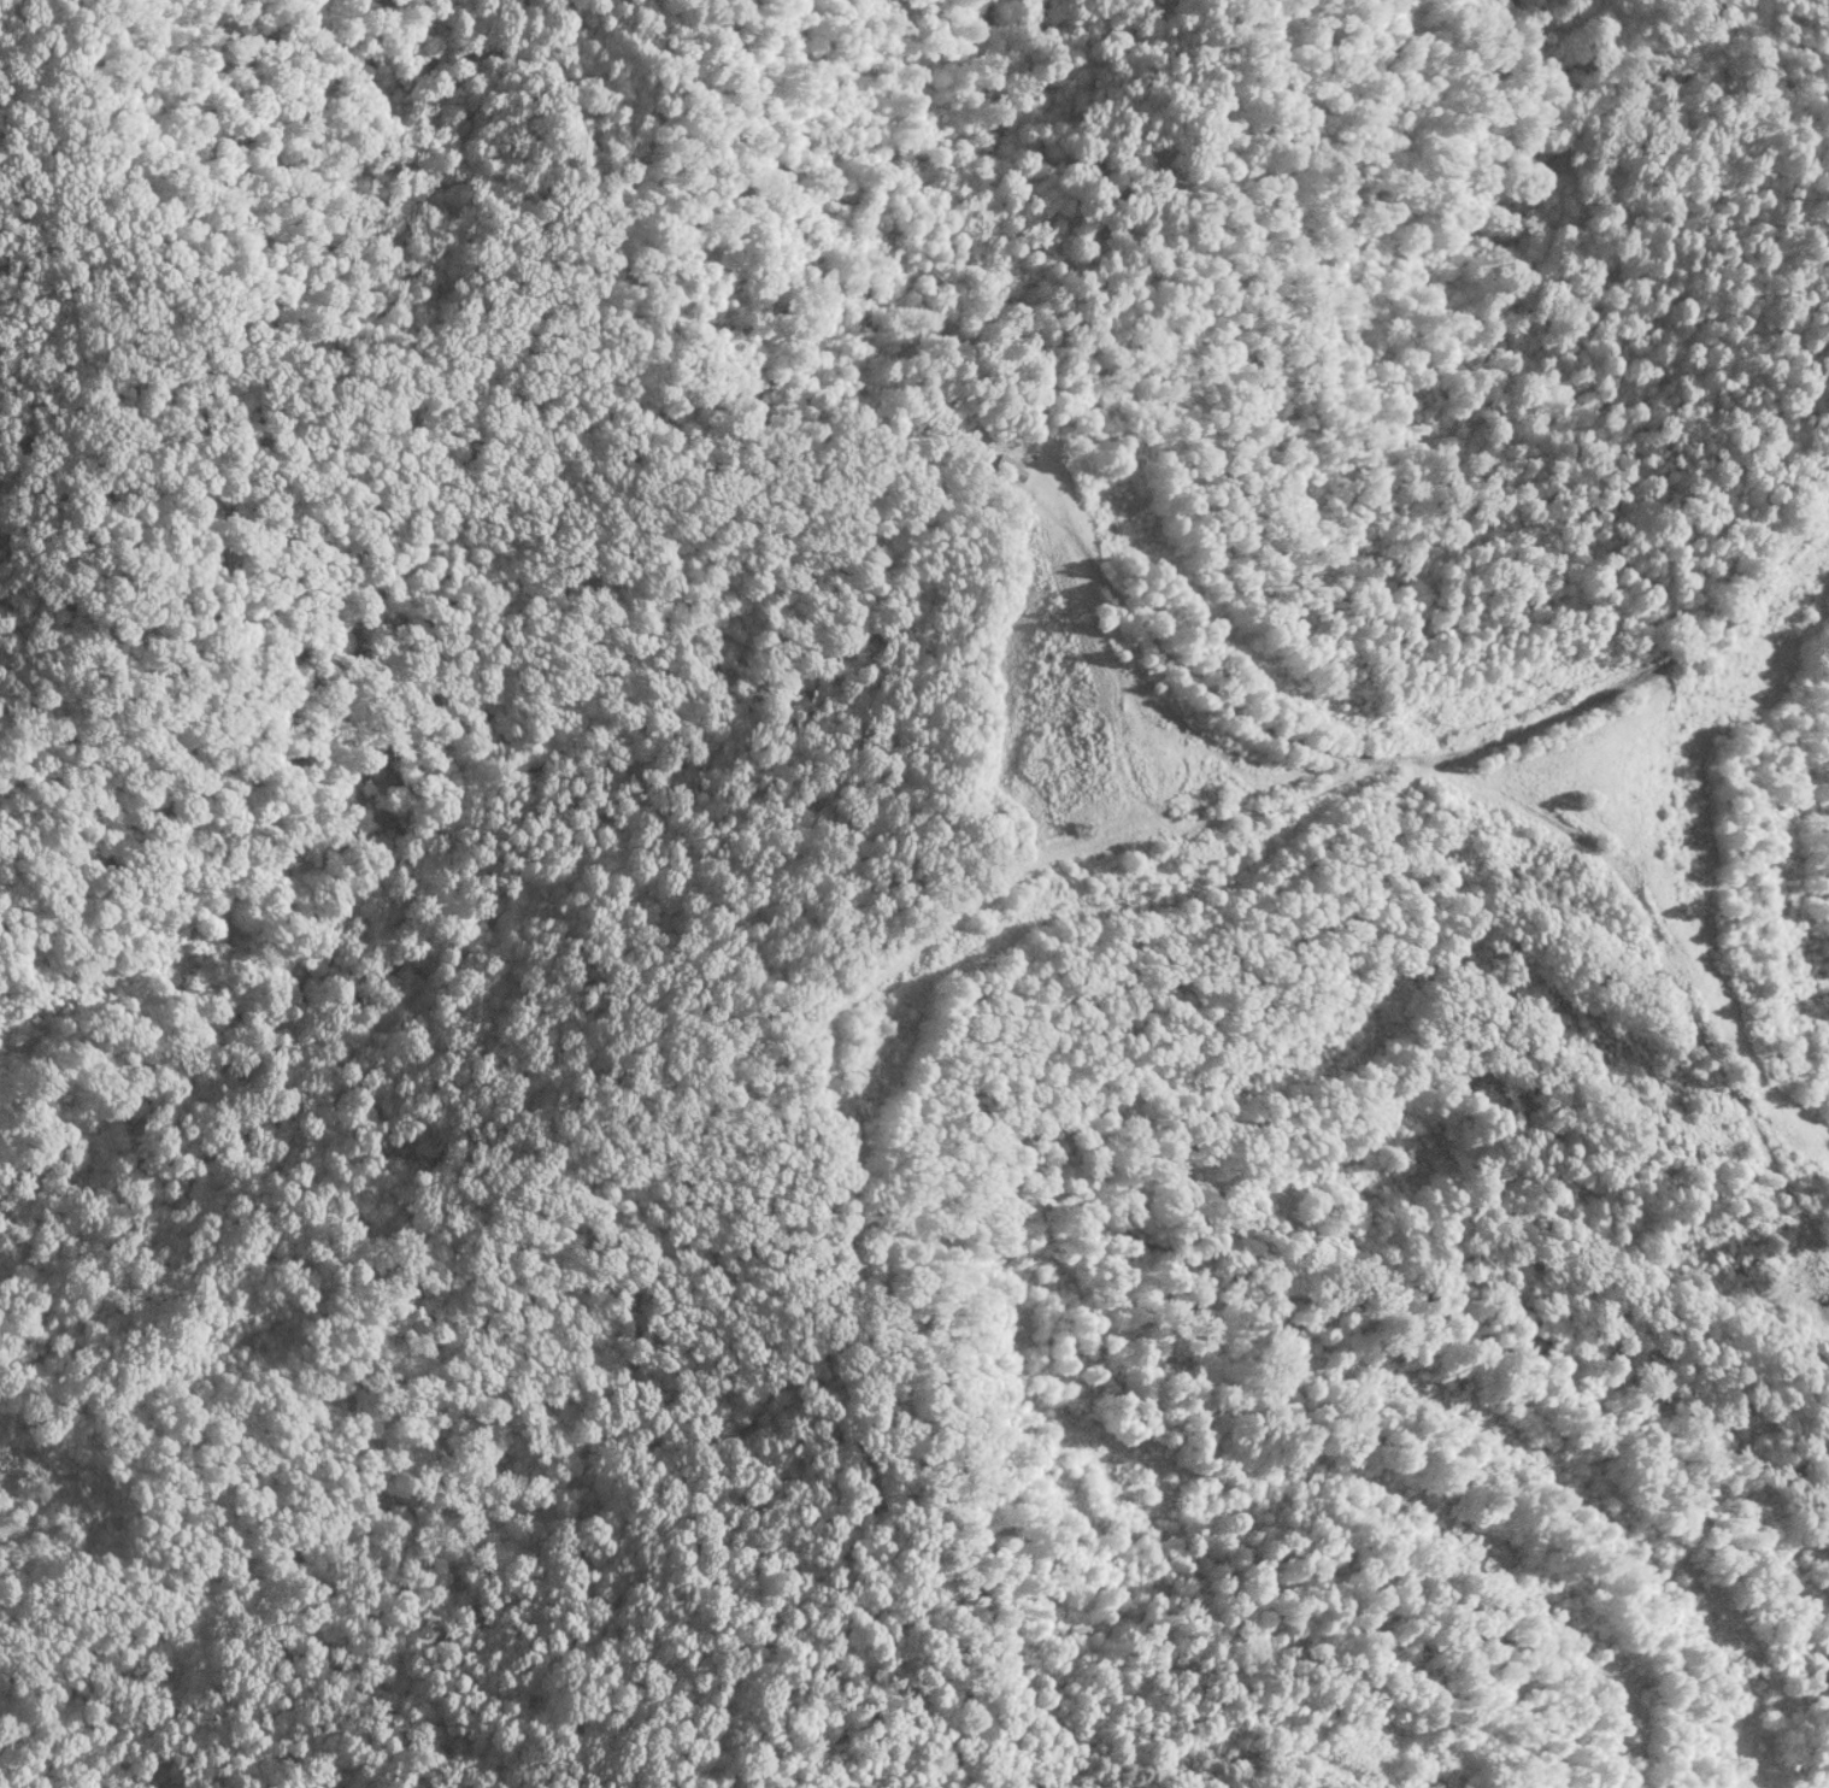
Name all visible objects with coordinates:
building: (1011, 469)

